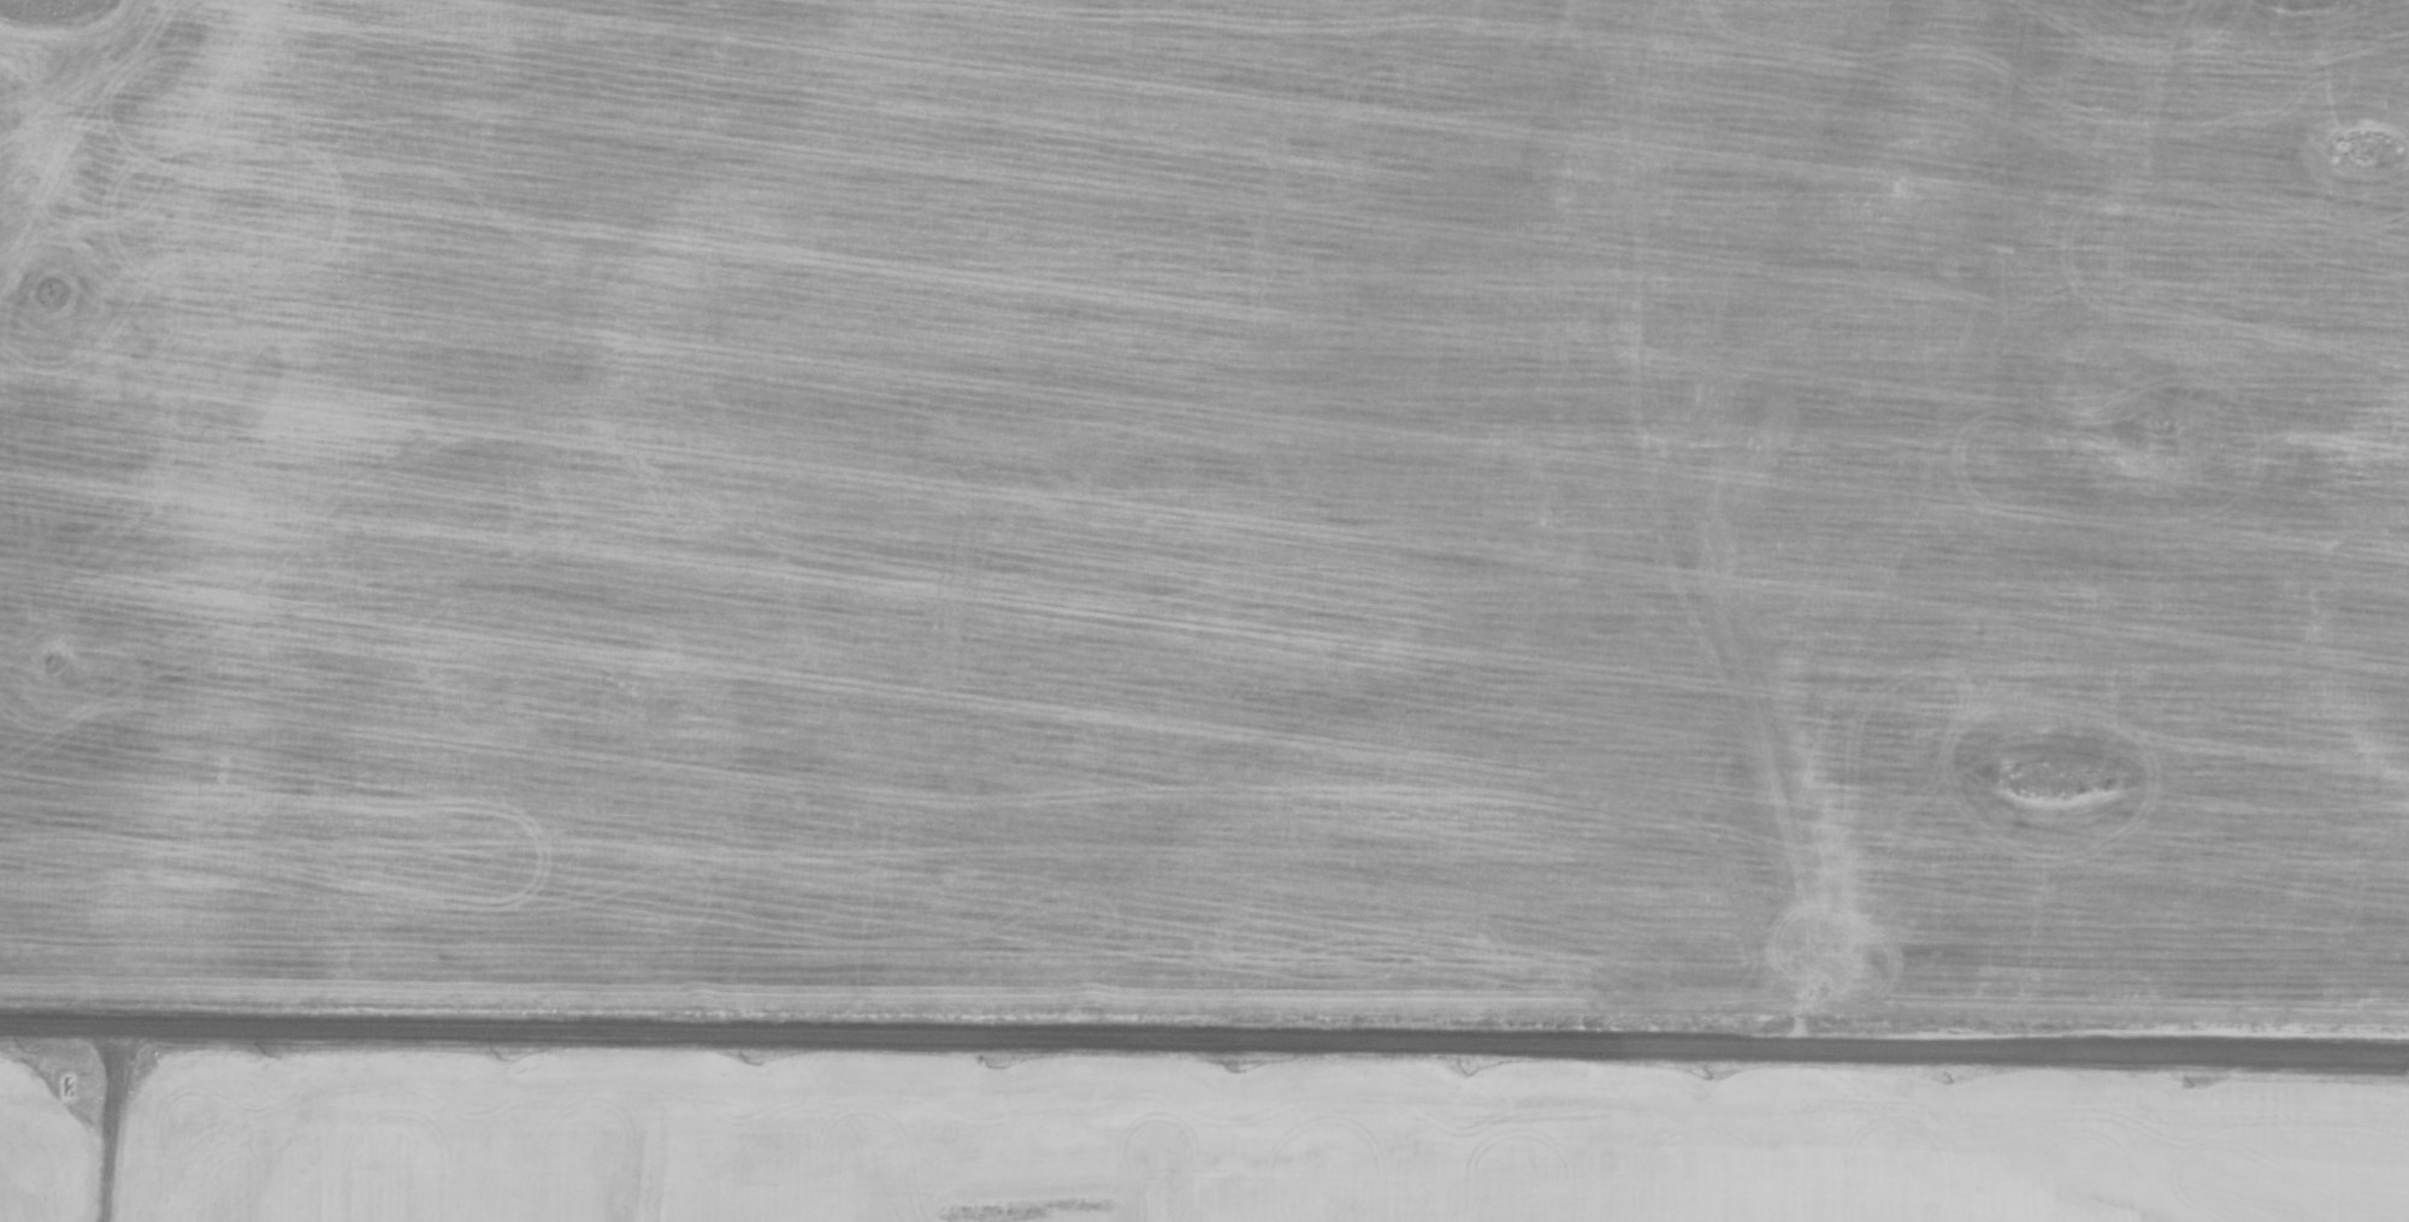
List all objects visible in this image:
road: (1204, 1035)
road: (110, 1121)

